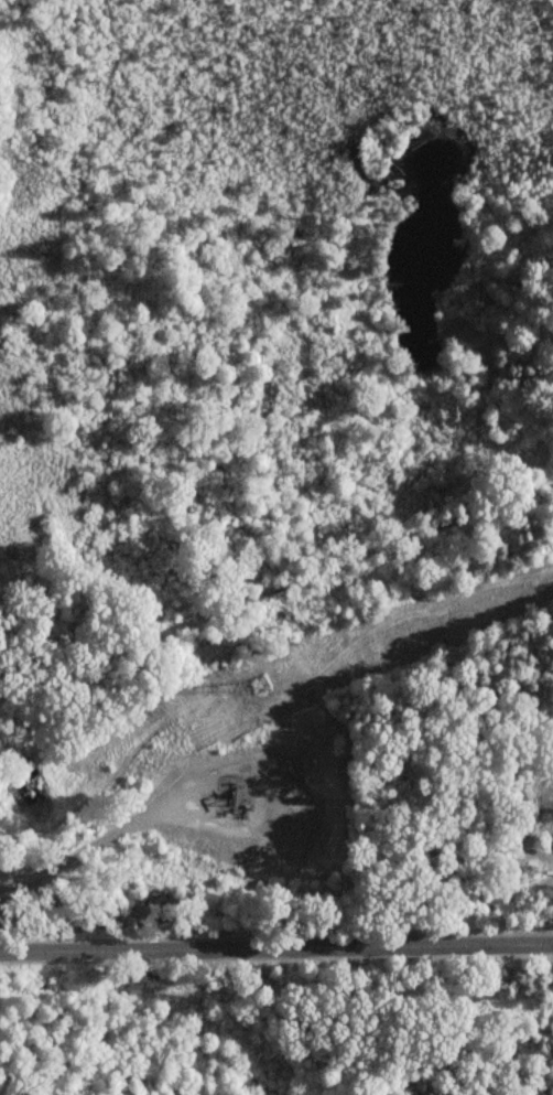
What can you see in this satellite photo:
building: (196, 774)
building: (313, 774)
road: (276, 949)

